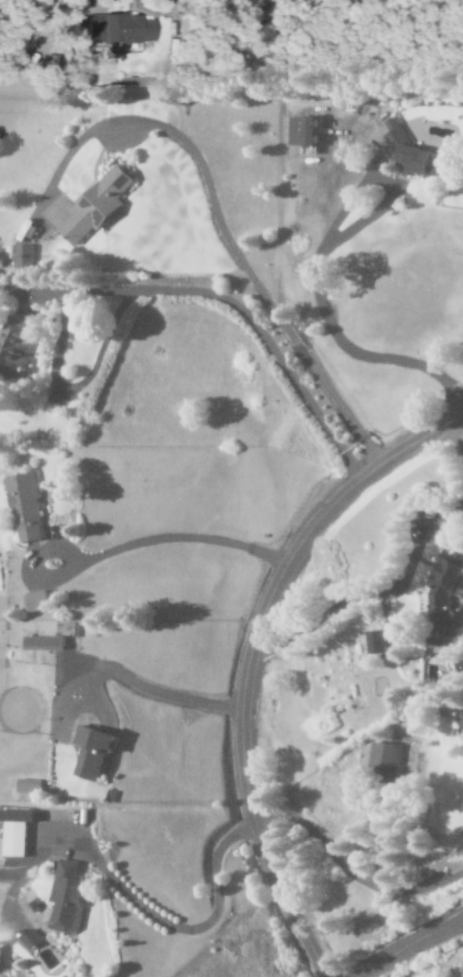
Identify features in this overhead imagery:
road: (104, 3)
building: (120, 30)
building: (306, 134)
building: (414, 155)
building: (97, 209)
building: (28, 257)
building: (16, 347)
building: (27, 508)
building: (447, 596)
building: (38, 602)
building: (378, 643)
building: (45, 644)
road: (243, 656)
building: (96, 752)
building: (388, 755)
building: (31, 787)
building: (18, 832)
building: (69, 899)
building: (32, 941)

